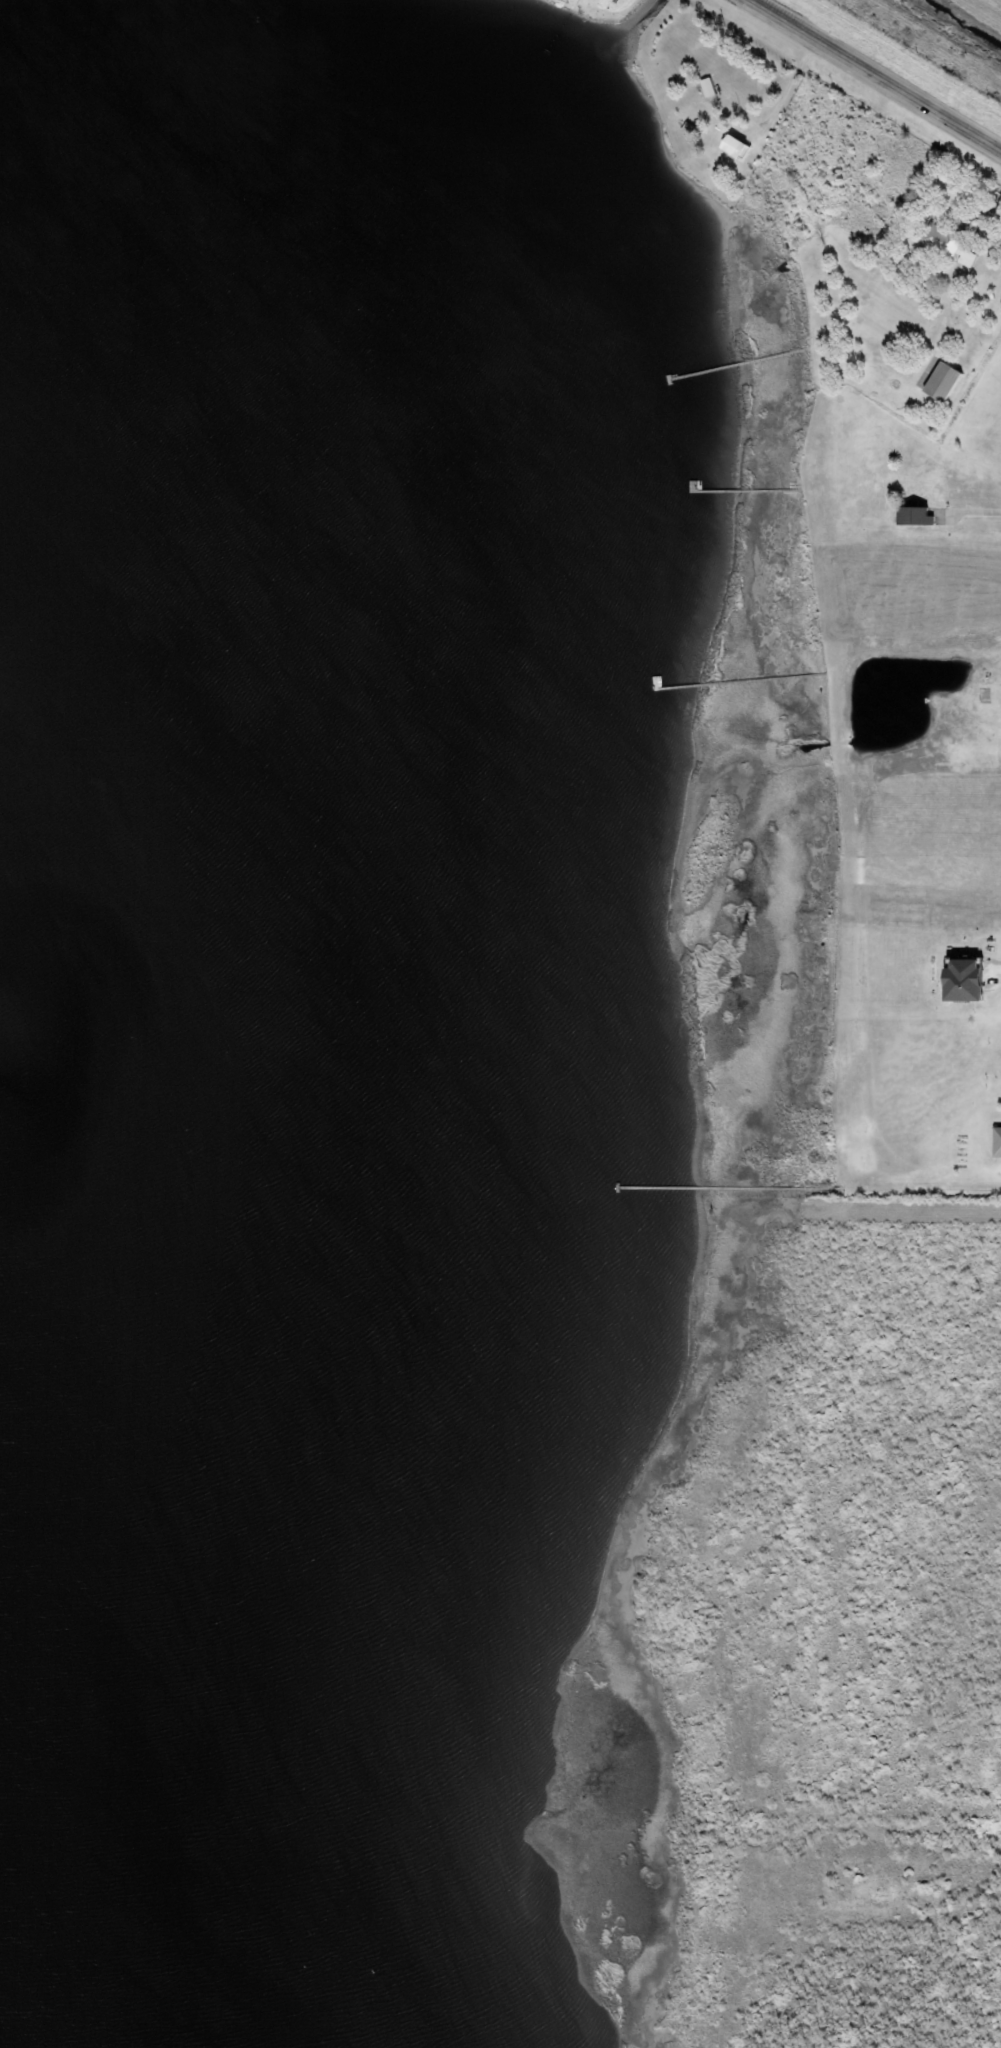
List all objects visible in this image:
road: (880, 73)
building: (708, 85)
building: (734, 145)
building: (947, 246)
building: (944, 381)
building: (913, 517)
building: (961, 982)
building: (999, 1143)

